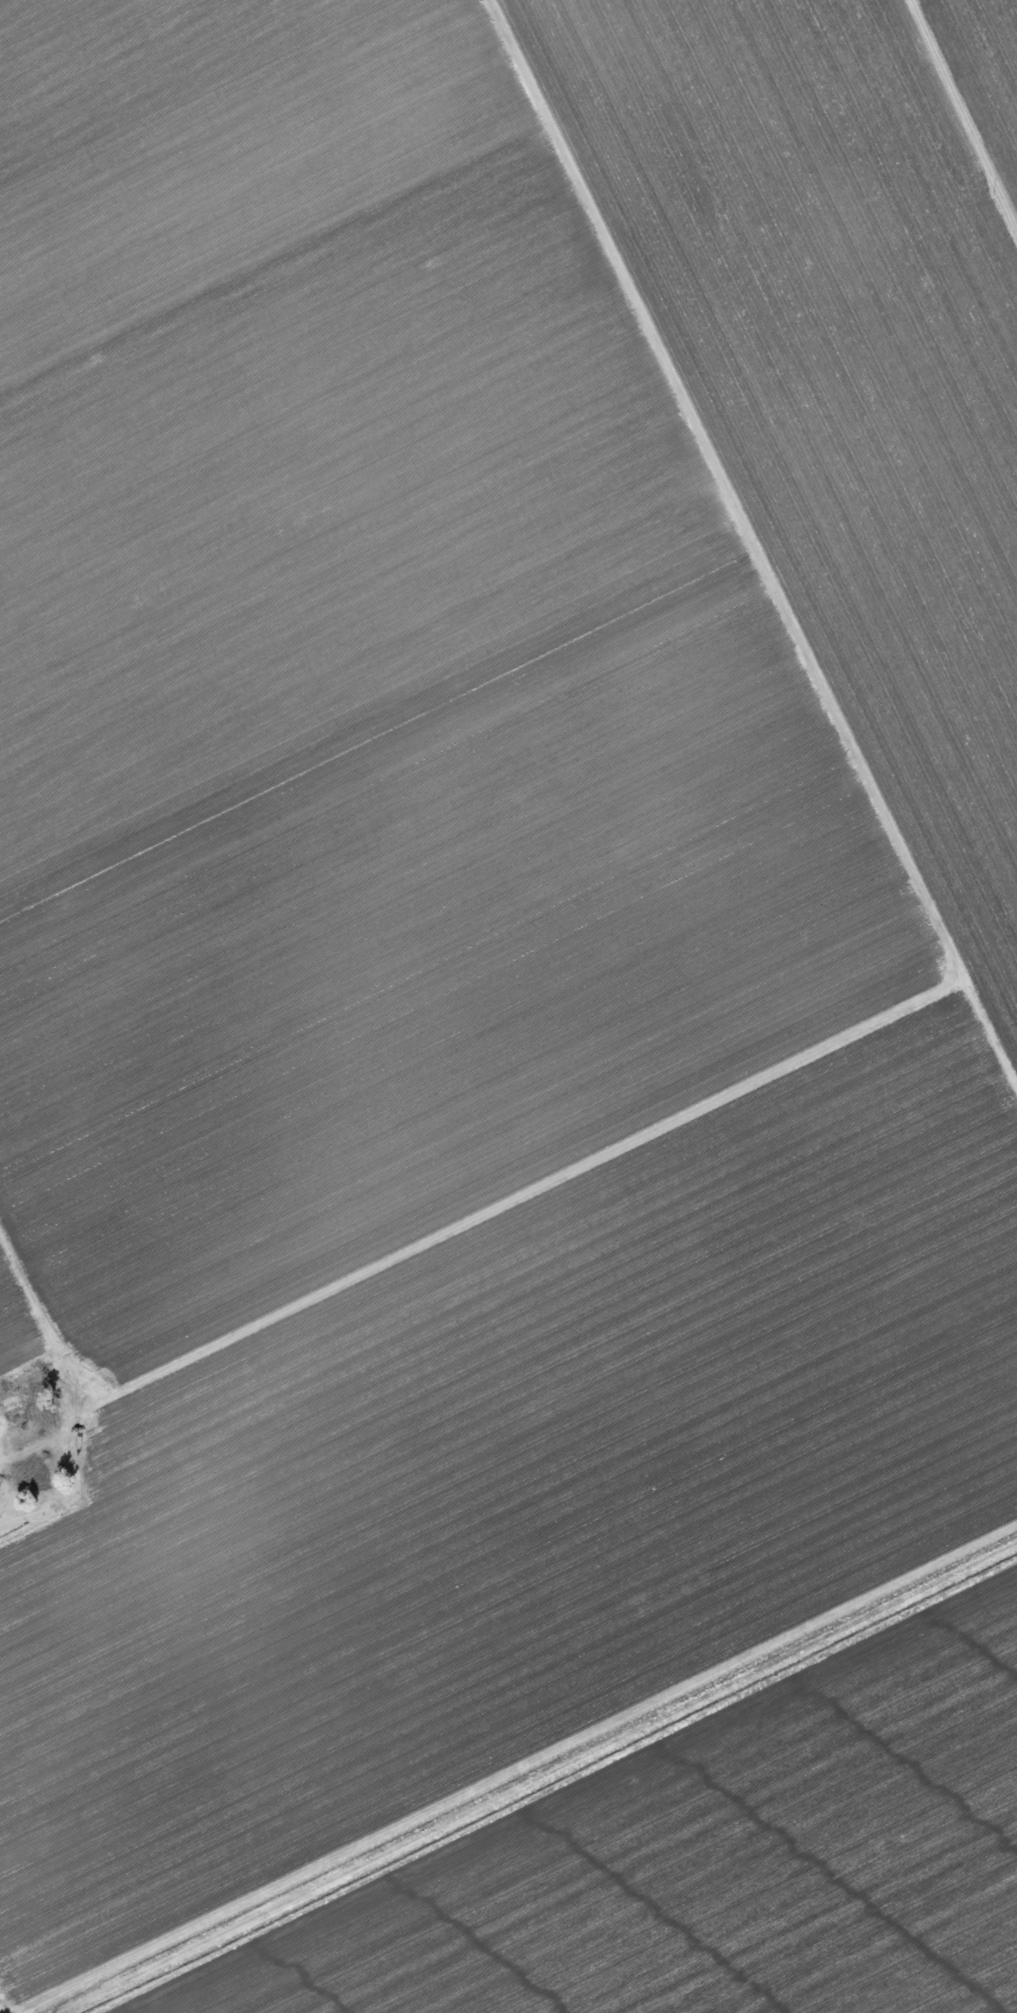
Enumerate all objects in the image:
building: (8, 1407)
building: (28, 1470)

